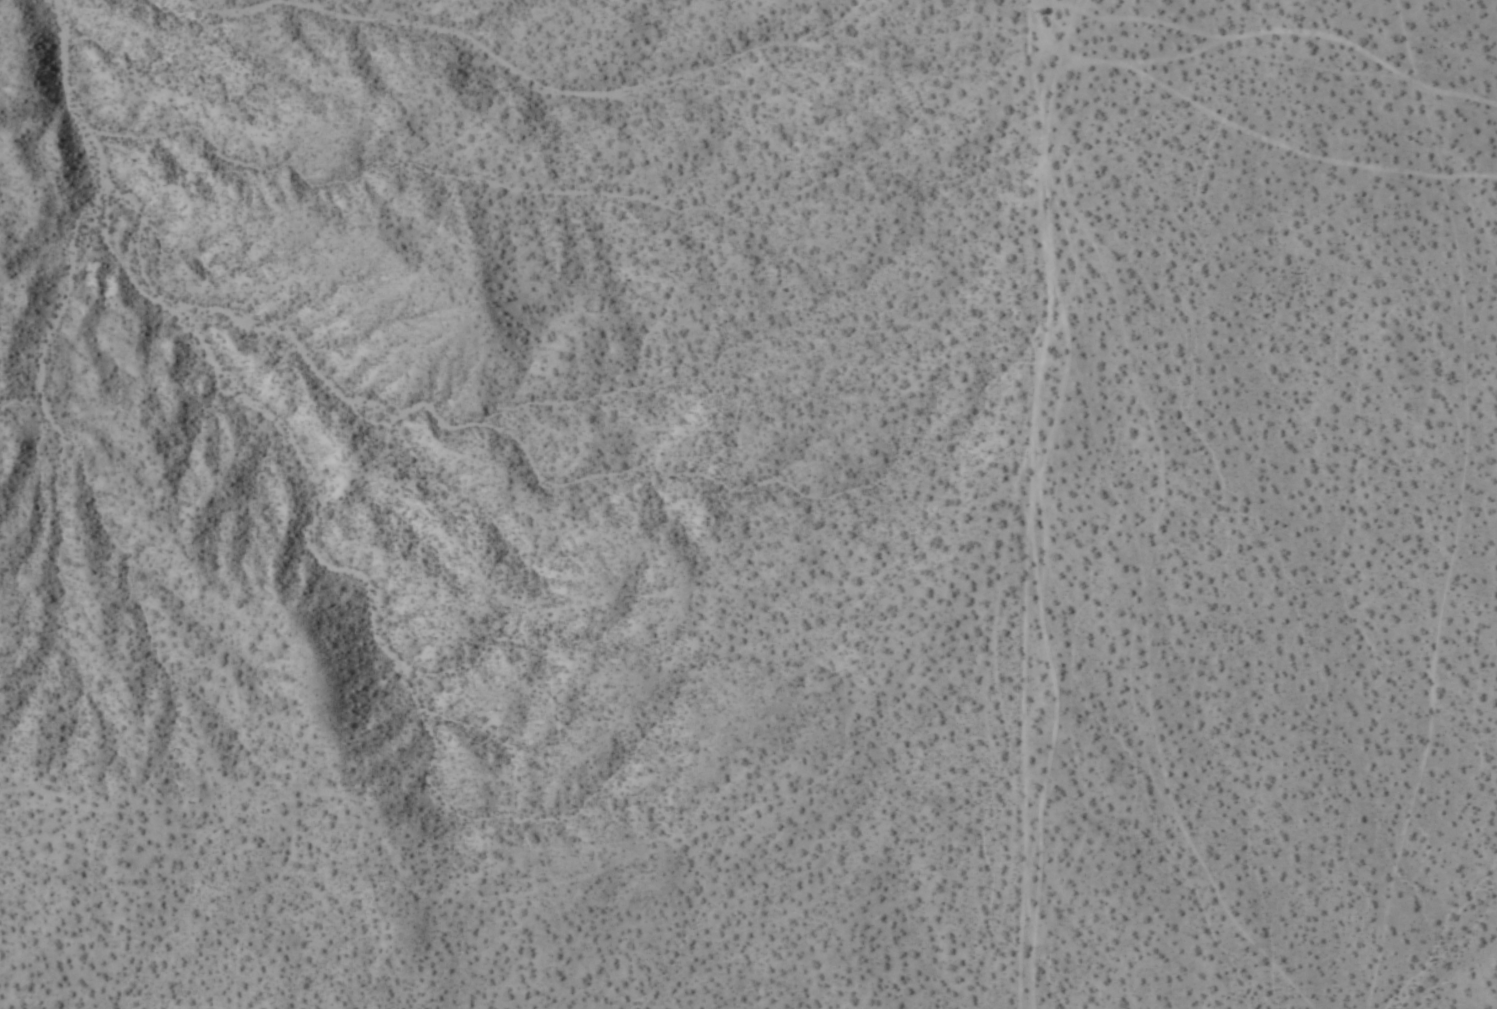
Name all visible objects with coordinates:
crop: (1282, 502)

